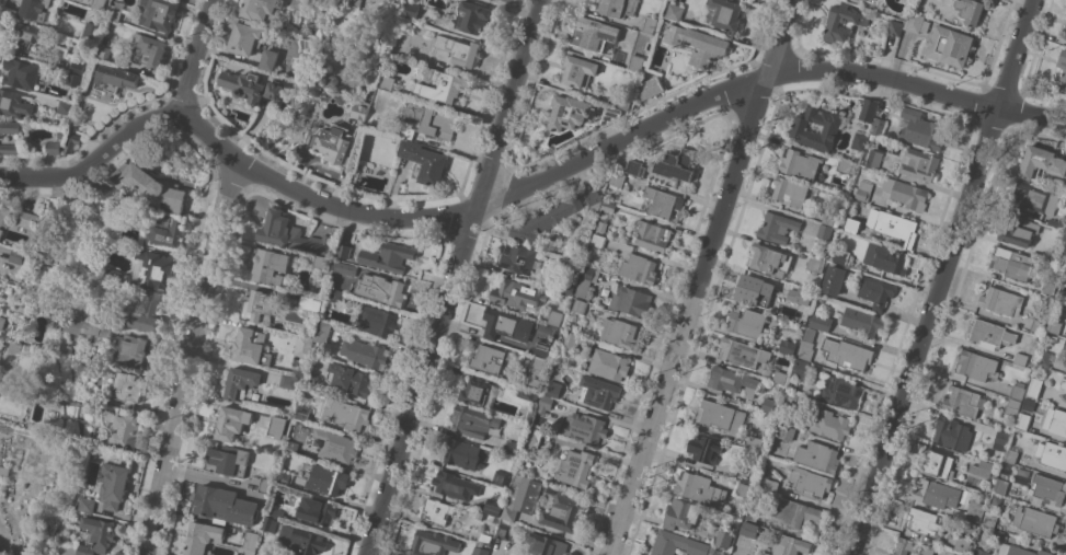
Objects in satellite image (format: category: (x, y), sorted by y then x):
building: (863, 0)
building: (98, 3)
building: (299, 4)
building: (355, 5)
building: (618, 7)
building: (260, 9)
building: (34, 10)
building: (412, 10)
building: (972, 10)
building: (115, 12)
building: (675, 12)
building: (160, 14)
building: (725, 15)
building: (473, 16)
building: (954, 20)
building: (843, 22)
building: (650, 24)
building: (917, 24)
building: (1065, 25)
building: (895, 27)
building: (91, 31)
building: (591, 33)
building: (1065, 36)
building: (27, 37)
building: (245, 38)
building: (698, 43)
building: (646, 44)
building: (950, 45)
building: (151, 49)
building: (460, 50)
building: (102, 51)
road: (196, 56)
building: (270, 59)
building: (635, 62)
building: (1063, 65)
building: (78, 67)
building: (580, 71)
building: (21, 72)
building: (116, 78)
building: (74, 79)
building: (333, 80)
building: (242, 82)
building: (388, 82)
building: (442, 85)
building: (651, 86)
building: (274, 90)
building: (623, 102)
building: (13, 103)
building: (66, 106)
building: (360, 109)
building: (869, 109)
building: (570, 112)
building: (610, 114)
building: (433, 120)
building: (879, 125)
building: (9, 126)
building: (920, 129)
building: (406, 130)
building: (802, 130)
building: (62, 134)
building: (859, 140)
building: (71, 141)
building: (333, 146)
building: (54, 147)
building: (10, 148)
building: (874, 158)
building: (857, 159)
building: (424, 161)
building: (1041, 162)
building: (800, 163)
building: (919, 163)
building: (675, 164)
building: (848, 166)
building: (635, 167)
building: (617, 178)
building: (150, 186)
road: (518, 190)
building: (790, 190)
building: (863, 190)
building: (908, 194)
building: (593, 197)
building: (1034, 198)
building: (663, 203)
building: (609, 206)
building: (4, 215)
building: (604, 216)
building: (829, 217)
building: (26, 219)
building: (546, 219)
building: (1057, 222)
building: (601, 226)
building: (778, 227)
building: (851, 227)
building: (897, 227)
building: (1018, 230)
building: (167, 231)
building: (825, 231)
building: (1, 232)
building: (290, 232)
building: (652, 235)
building: (598, 241)
building: (344, 251)
building: (1057, 254)
building: (839, 255)
building: (19, 256)
building: (388, 256)
building: (885, 257)
building: (519, 258)
building: (770, 259)
building: (320, 262)
building: (1012, 263)
building: (815, 264)
building: (271, 265)
building: (343, 266)
building: (639, 268)
building: (157, 269)
road: (454, 277)
road: (703, 277)
road: (943, 277)
building: (1065, 278)
building: (834, 279)
building: (586, 280)
building: (569, 288)
building: (1048, 288)
building: (336, 290)
building: (383, 290)
building: (755, 290)
building: (876, 291)
building: (516, 294)
building: (804, 298)
building: (631, 300)
building: (1000, 301)
building: (309, 302)
building: (257, 307)
building: (580, 307)
building: (146, 311)
building: (1042, 315)
building: (555, 317)
building: (376, 321)
building: (821, 321)
building: (2, 322)
building: (746, 322)
building: (867, 322)
building: (504, 324)
building: (73, 325)
building: (566, 325)
building: (1038, 325)
building: (1054, 326)
building: (101, 328)
building: (322, 331)
building: (619, 332)
building: (990, 334)
building: (569, 339)
building: (303, 344)
building: (543, 344)
building: (806, 344)
building: (1065, 345)
building: (251, 346)
building: (787, 347)
building: (137, 349)
building: (365, 352)
building: (746, 352)
building: (848, 354)
building: (488, 358)
building: (1021, 358)
building: (1045, 358)
road: (186, 359)
building: (296, 362)
building: (609, 365)
building: (978, 365)
building: (1065, 365)
building: (800, 367)
building: (535, 370)
building: (780, 377)
building: (351, 379)
building: (312, 380)
building: (732, 380)
building: (288, 381)
building: (241, 382)
building: (1064, 383)
building: (127, 388)
building: (1034, 388)
building: (553, 389)
building: (1018, 390)
building: (598, 391)
building: (475, 392)
building: (841, 392)
building: (528, 394)
building: (791, 397)
building: (962, 401)
building: (546, 404)
building: (768, 404)
building: (1029, 404)
building: (1012, 406)
building: (303, 413)
building: (348, 415)
building: (721, 415)
building: (1023, 420)
building: (1055, 420)
building: (232, 421)
building: (473, 421)
building: (830, 424)
building: (34, 426)
building: (278, 426)
building: (585, 427)
building: (124, 430)
building: (786, 431)
building: (952, 432)
building: (534, 438)
building: (1001, 439)
building: (755, 442)
building: (335, 446)
building: (293, 447)
building: (511, 447)
building: (703, 448)
building: (463, 454)
building: (1052, 454)
building: (818, 455)
building: (1010, 455)
building: (228, 460)
building: (938, 464)
building: (576, 467)
building: (982, 467)
building: (1006, 469)
road: (1043, 469)
building: (1023, 472)
building: (744, 474)
building: (284, 477)
building: (501, 477)
building: (326, 478)
building: (1021, 479)
building: (810, 481)
building: (266, 485)
building: (456, 485)
building: (770, 485)
building: (1001, 486)
building: (113, 487)
building: (549, 488)
building: (700, 488)
building: (744, 489)
building: (1047, 490)
building: (576, 493)
building: (938, 494)
building: (523, 497)
building: (997, 499)
building: (87, 504)
building: (226, 505)
building: (493, 506)
building: (320, 510)
building: (437, 510)
building: (276, 511)
building: (563, 511)
building: (975, 511)
building: (796, 512)
building: (681, 513)
building: (752, 513)
building: (480, 514)
building: (990, 520)
building: (922, 521)
building: (1036, 521)
building: (271, 523)
building: (734, 525)
building: (750, 529)
building: (504, 531)
building: (999, 533)
building: (103, 536)
building: (204, 536)
building: (485, 537)
building: (724, 539)
building: (302, 540)
building: (251, 543)
building: (433, 543)
building: (678, 544)
building: (963, 544)
building: (547, 545)
building: (790, 545)
building: (913, 547)
building: (266, 550)
building: (480, 550)
building: (981, 550)
building: (1020, 551)
building: (717, 552)

